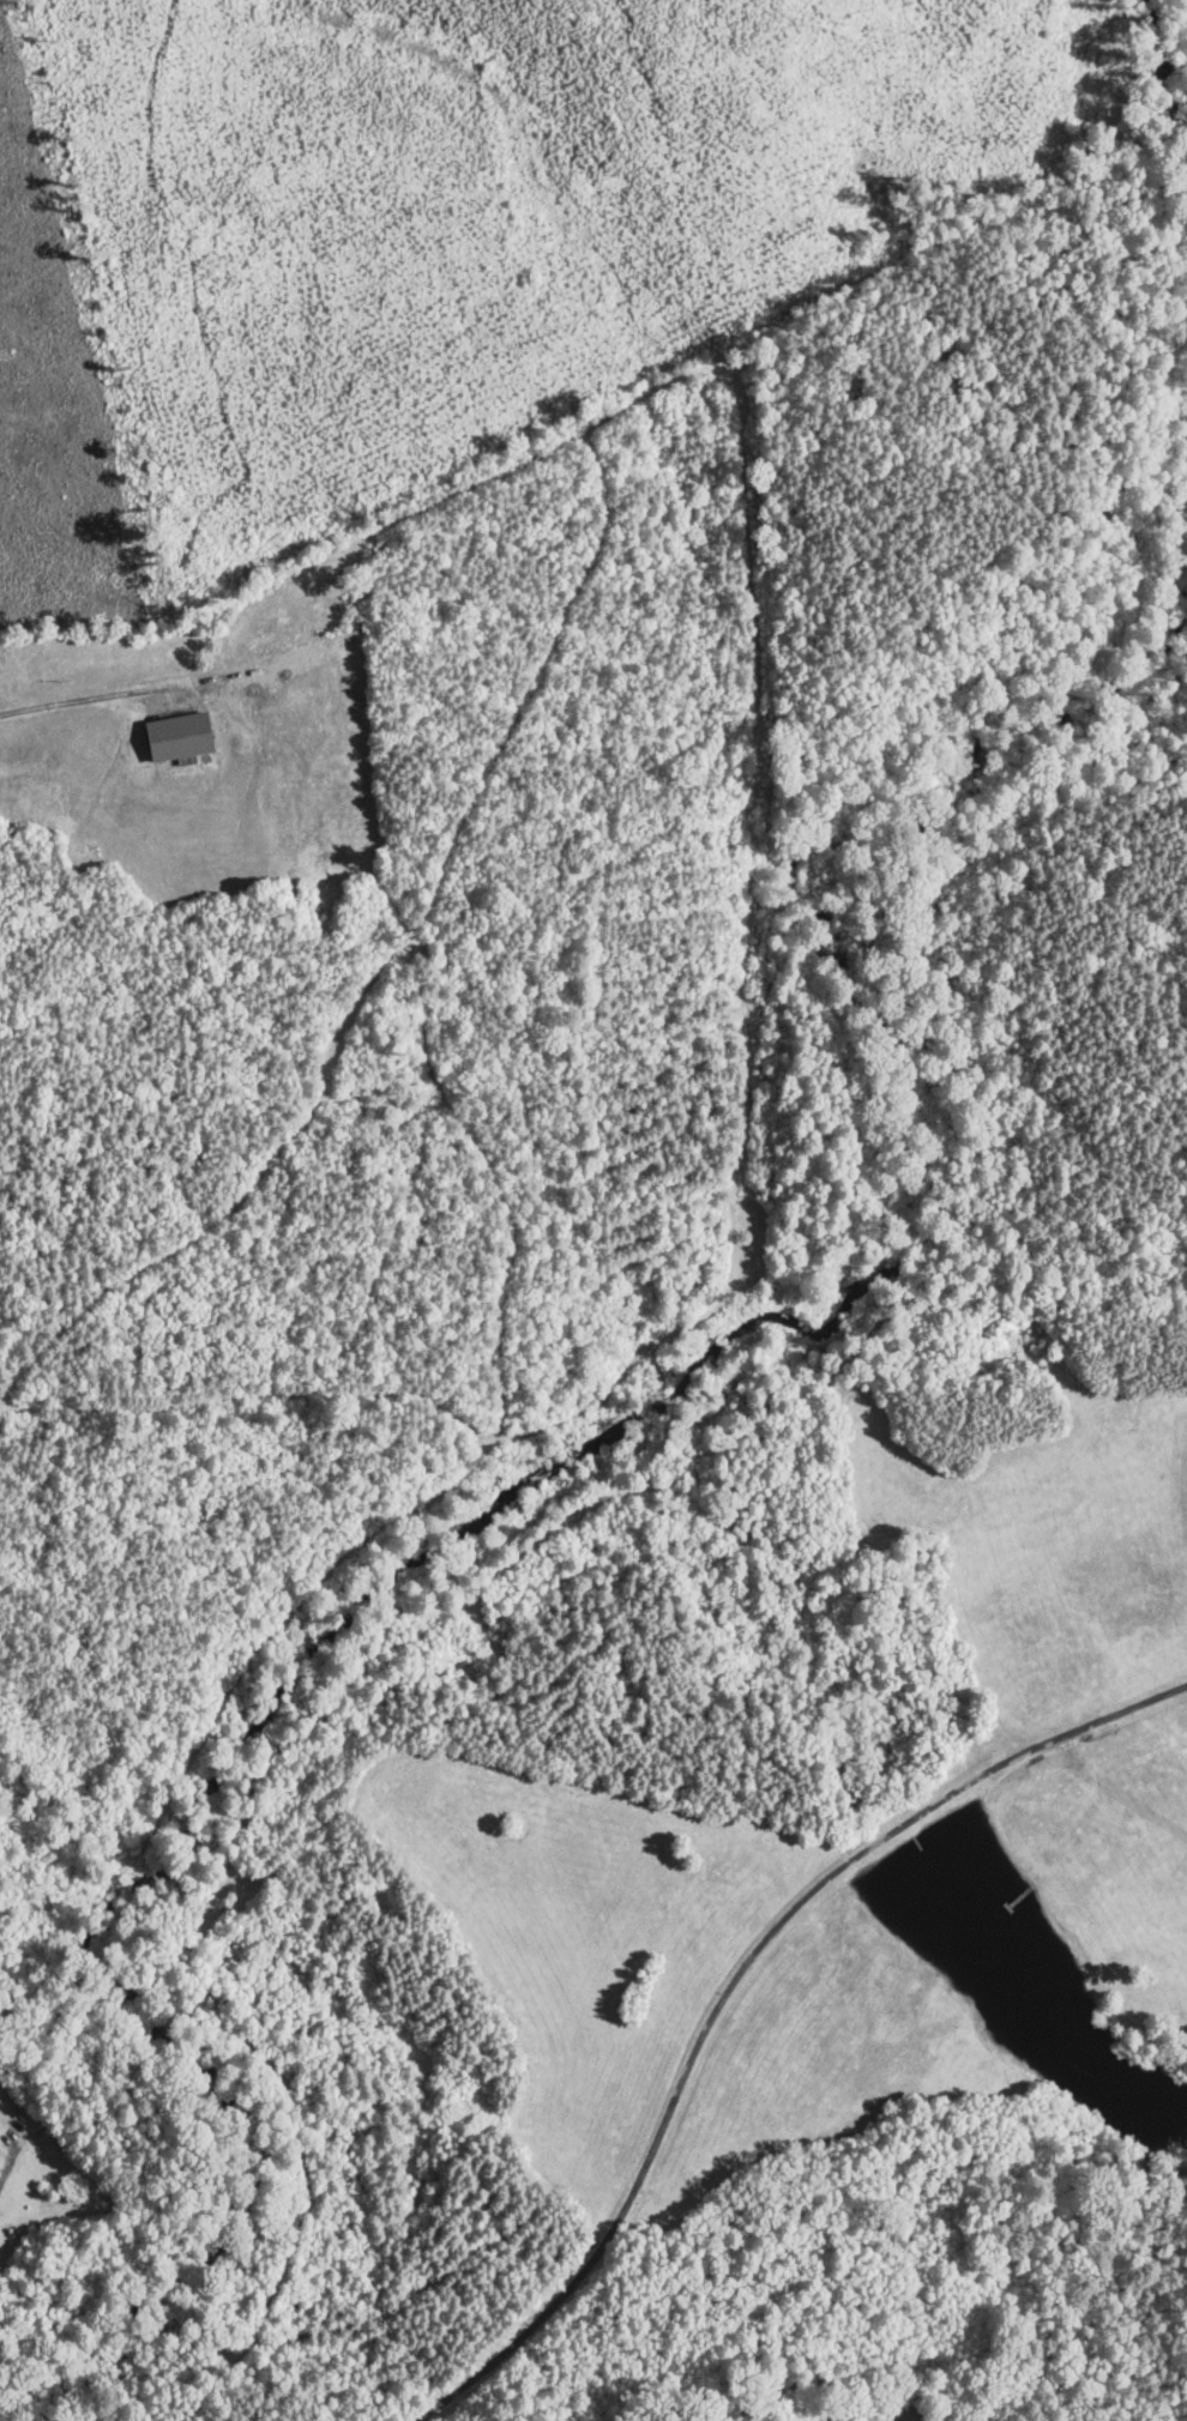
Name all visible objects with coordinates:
road: (62, 705)
building: (182, 735)
road: (733, 1984)
crop: (814, 2058)
building: (0, 2149)
road: (4, 2177)

